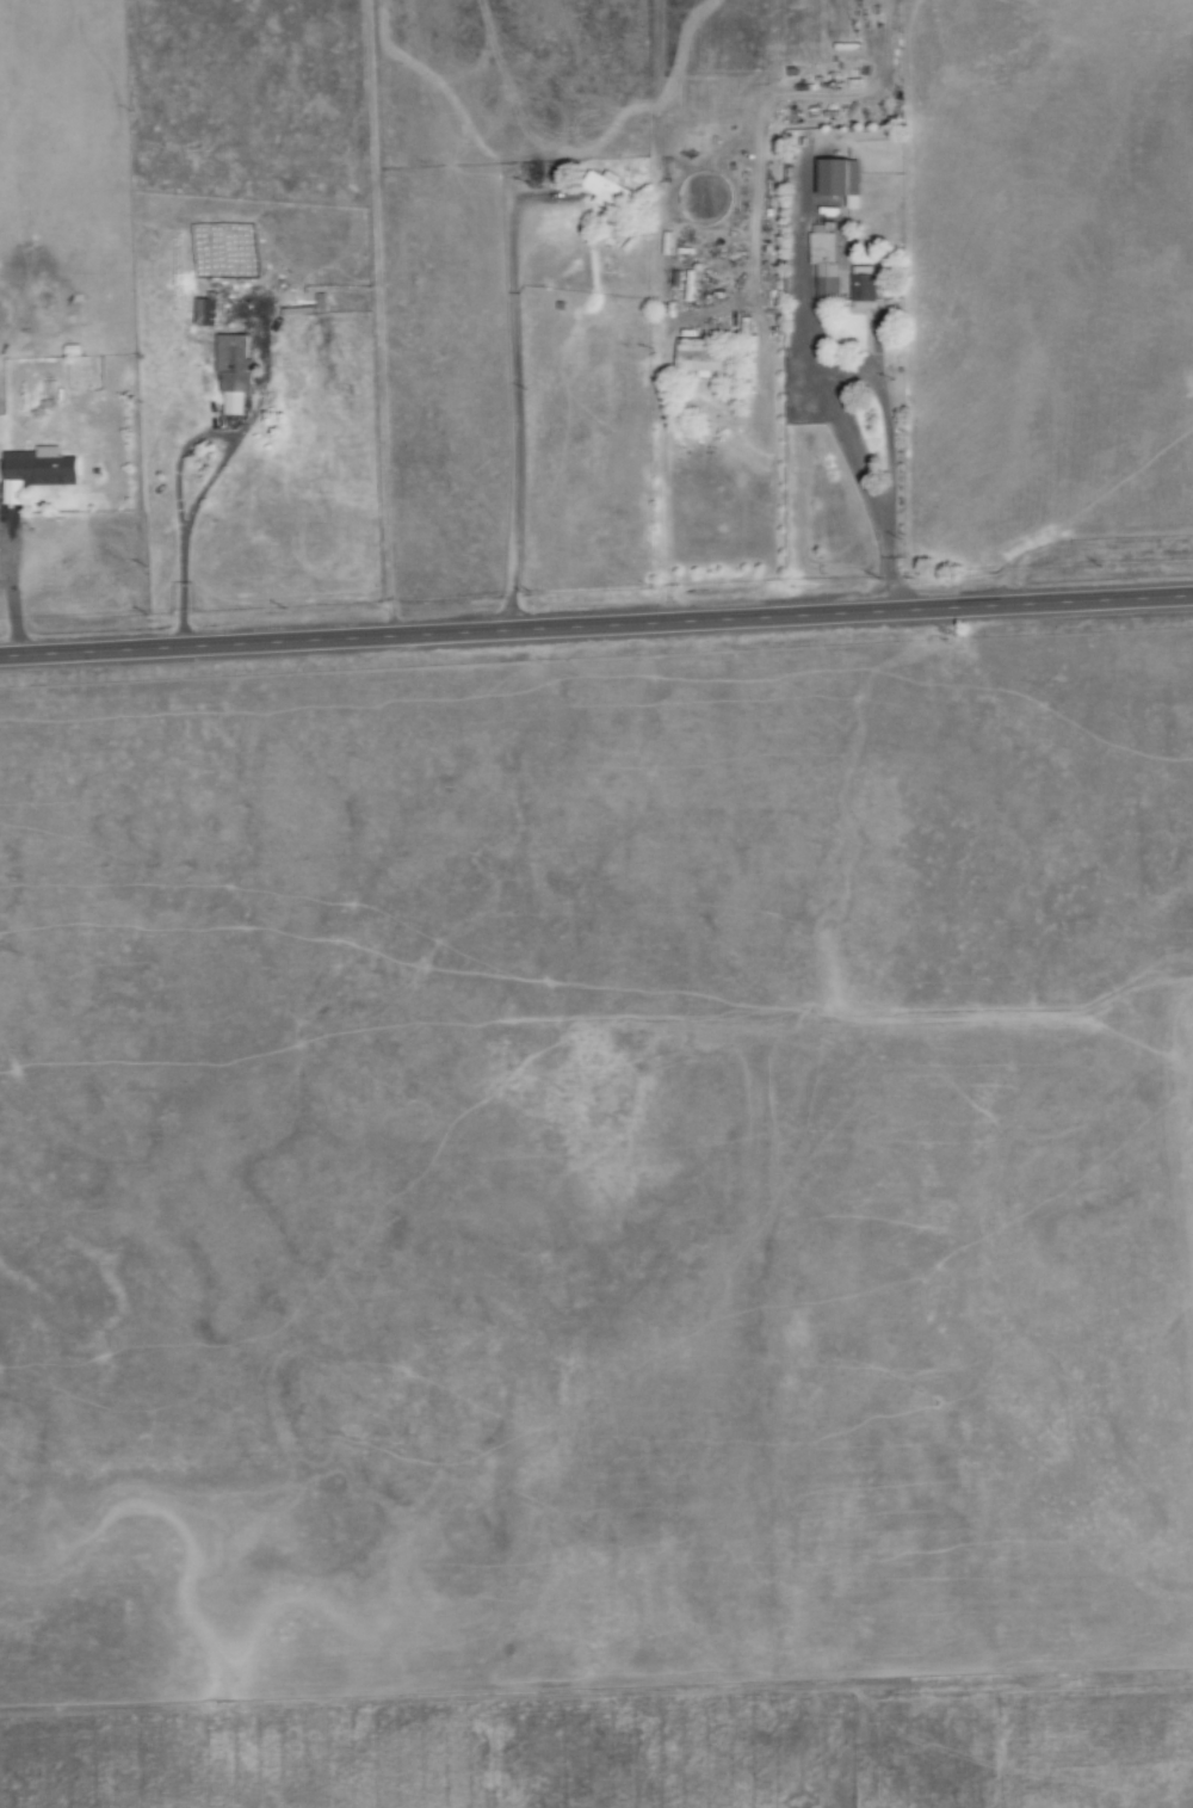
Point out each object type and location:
building: (841, 180)
building: (607, 191)
building: (824, 261)
building: (864, 288)
building: (206, 310)
building: (704, 354)
building: (235, 370)
road: (828, 389)
road: (514, 402)
road: (177, 468)
building: (41, 469)
road: (596, 629)

